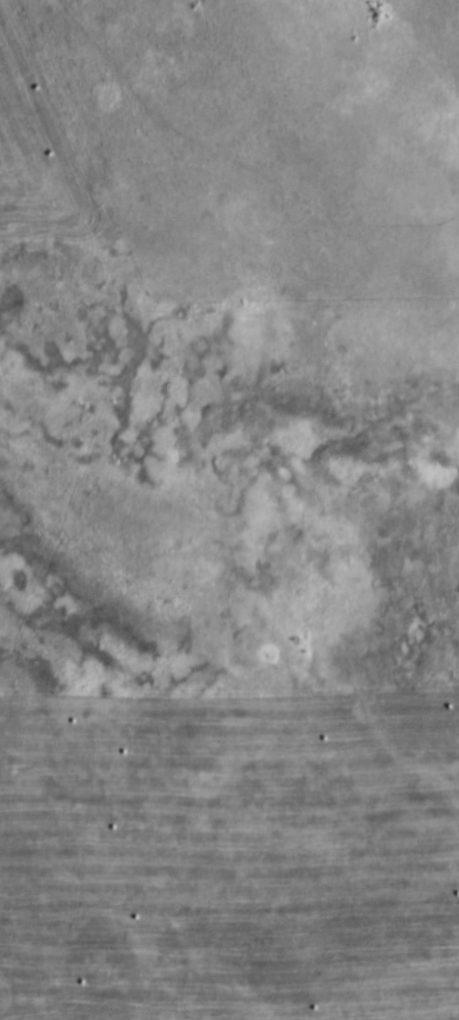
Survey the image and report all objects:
building: (302, 922)

